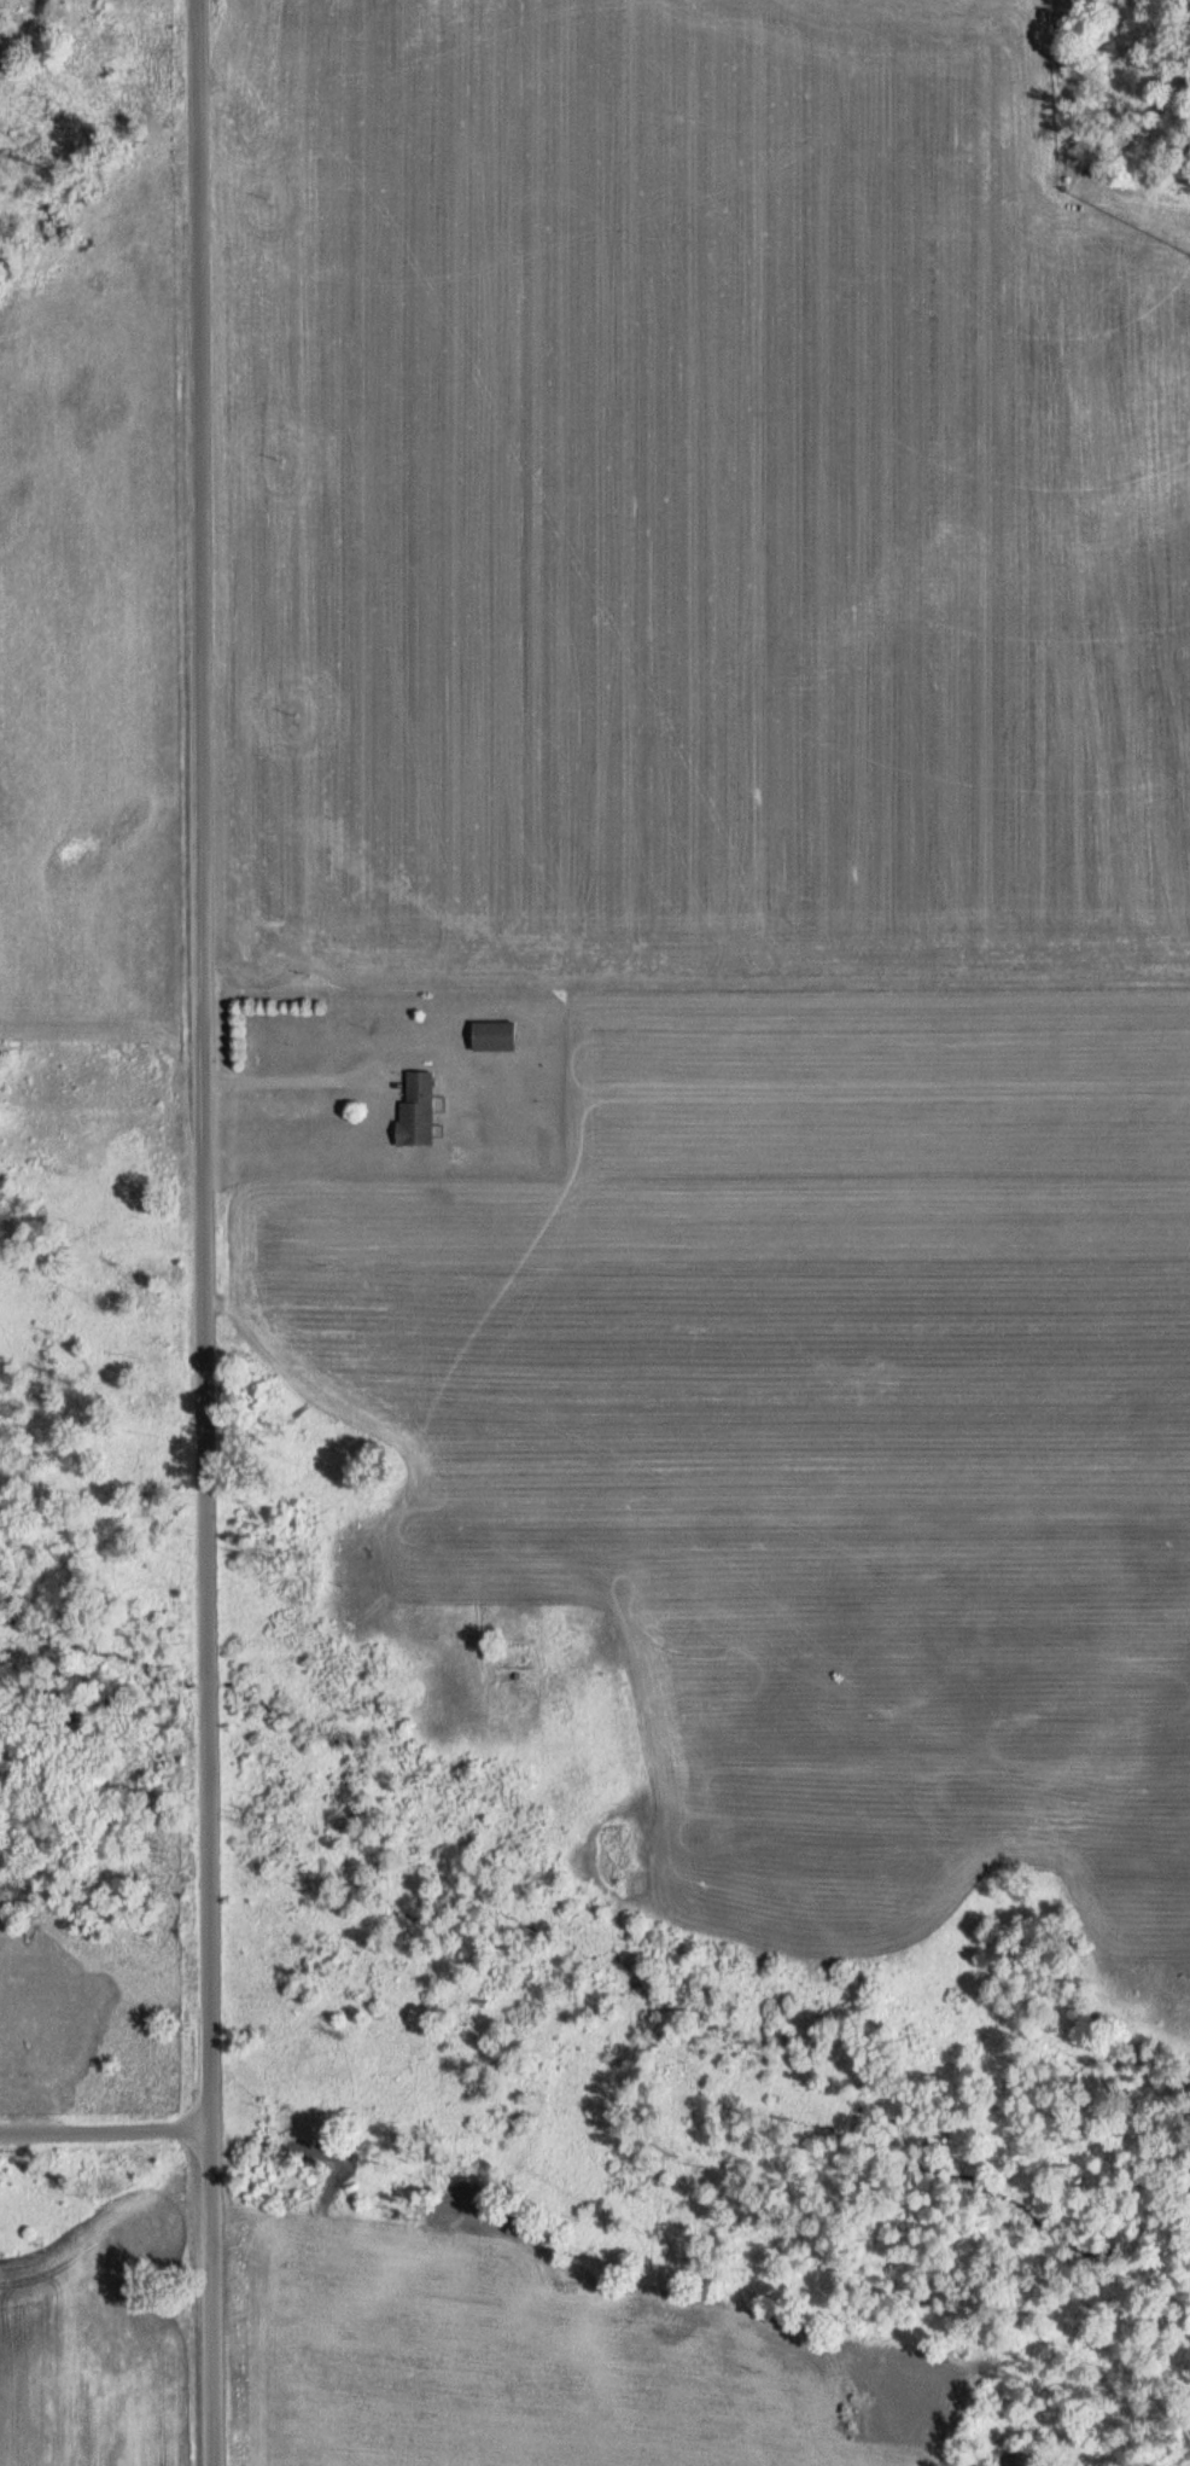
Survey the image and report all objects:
building: (491, 1035)
road: (203, 1064)
road: (296, 1081)
building: (415, 1109)
road: (106, 2130)
road: (214, 2298)

